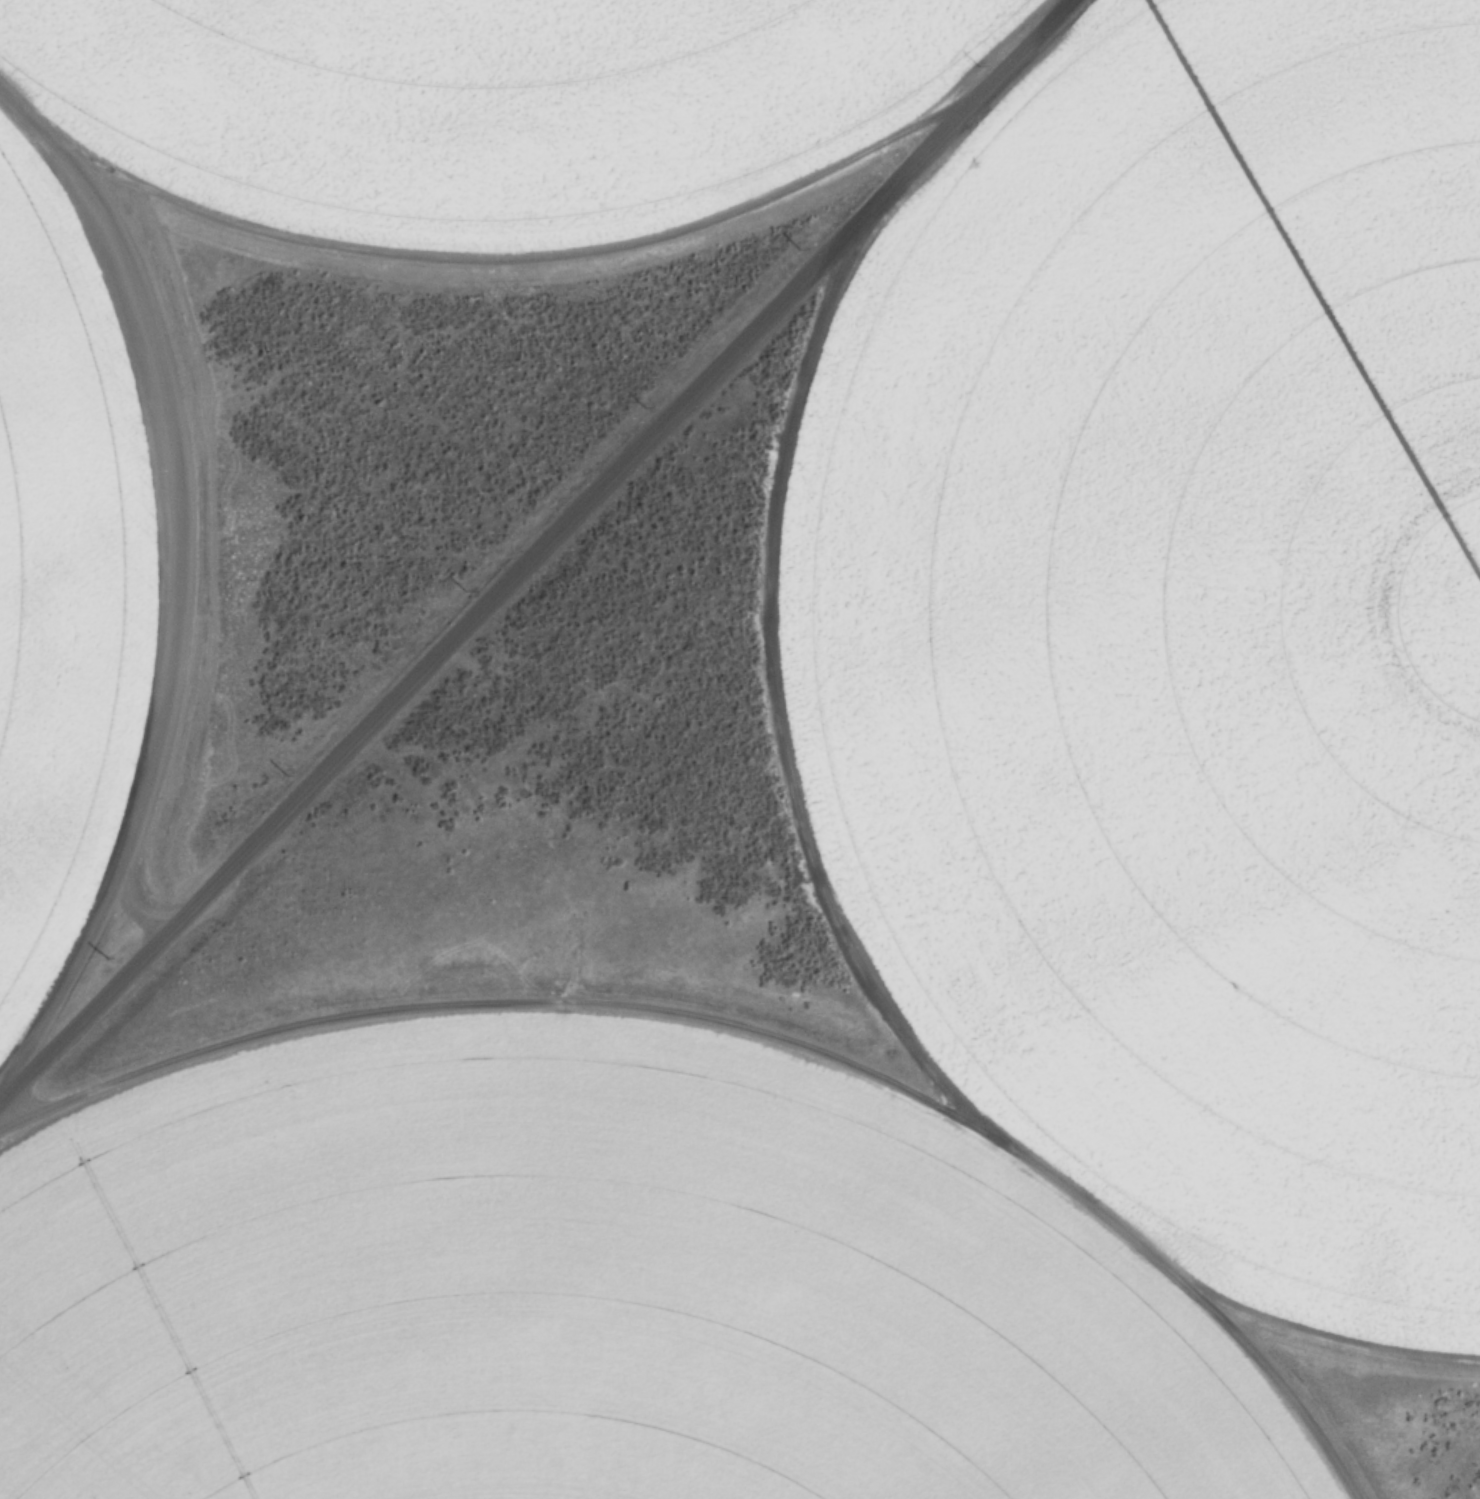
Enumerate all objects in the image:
road: (539, 554)

